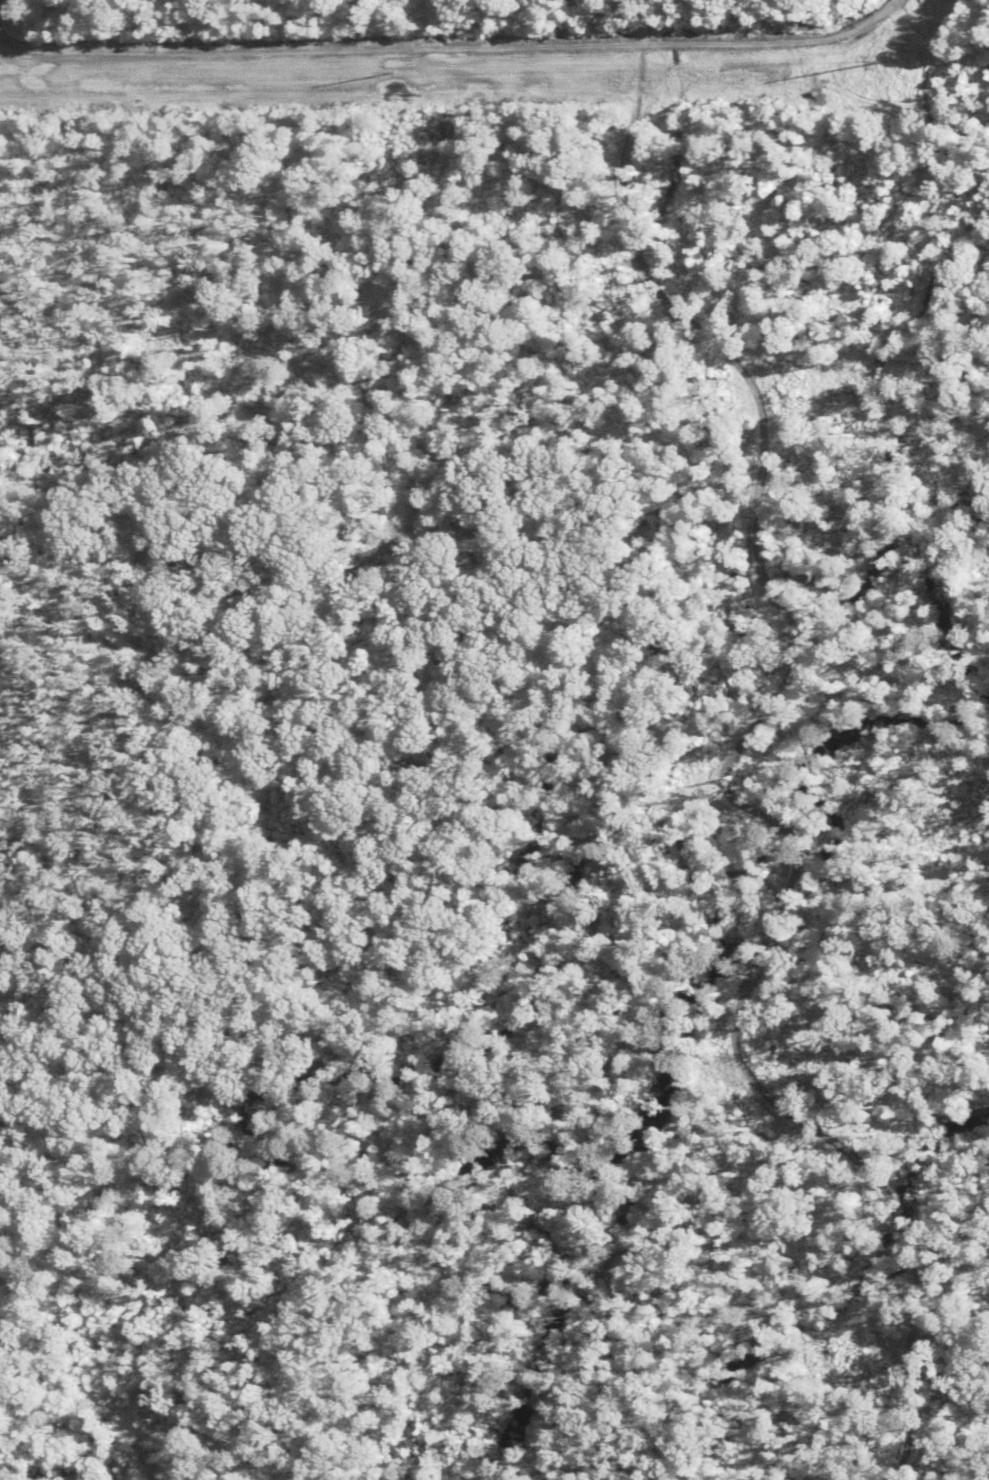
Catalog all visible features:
power tower: (875, 61)
power tower: (388, 69)

